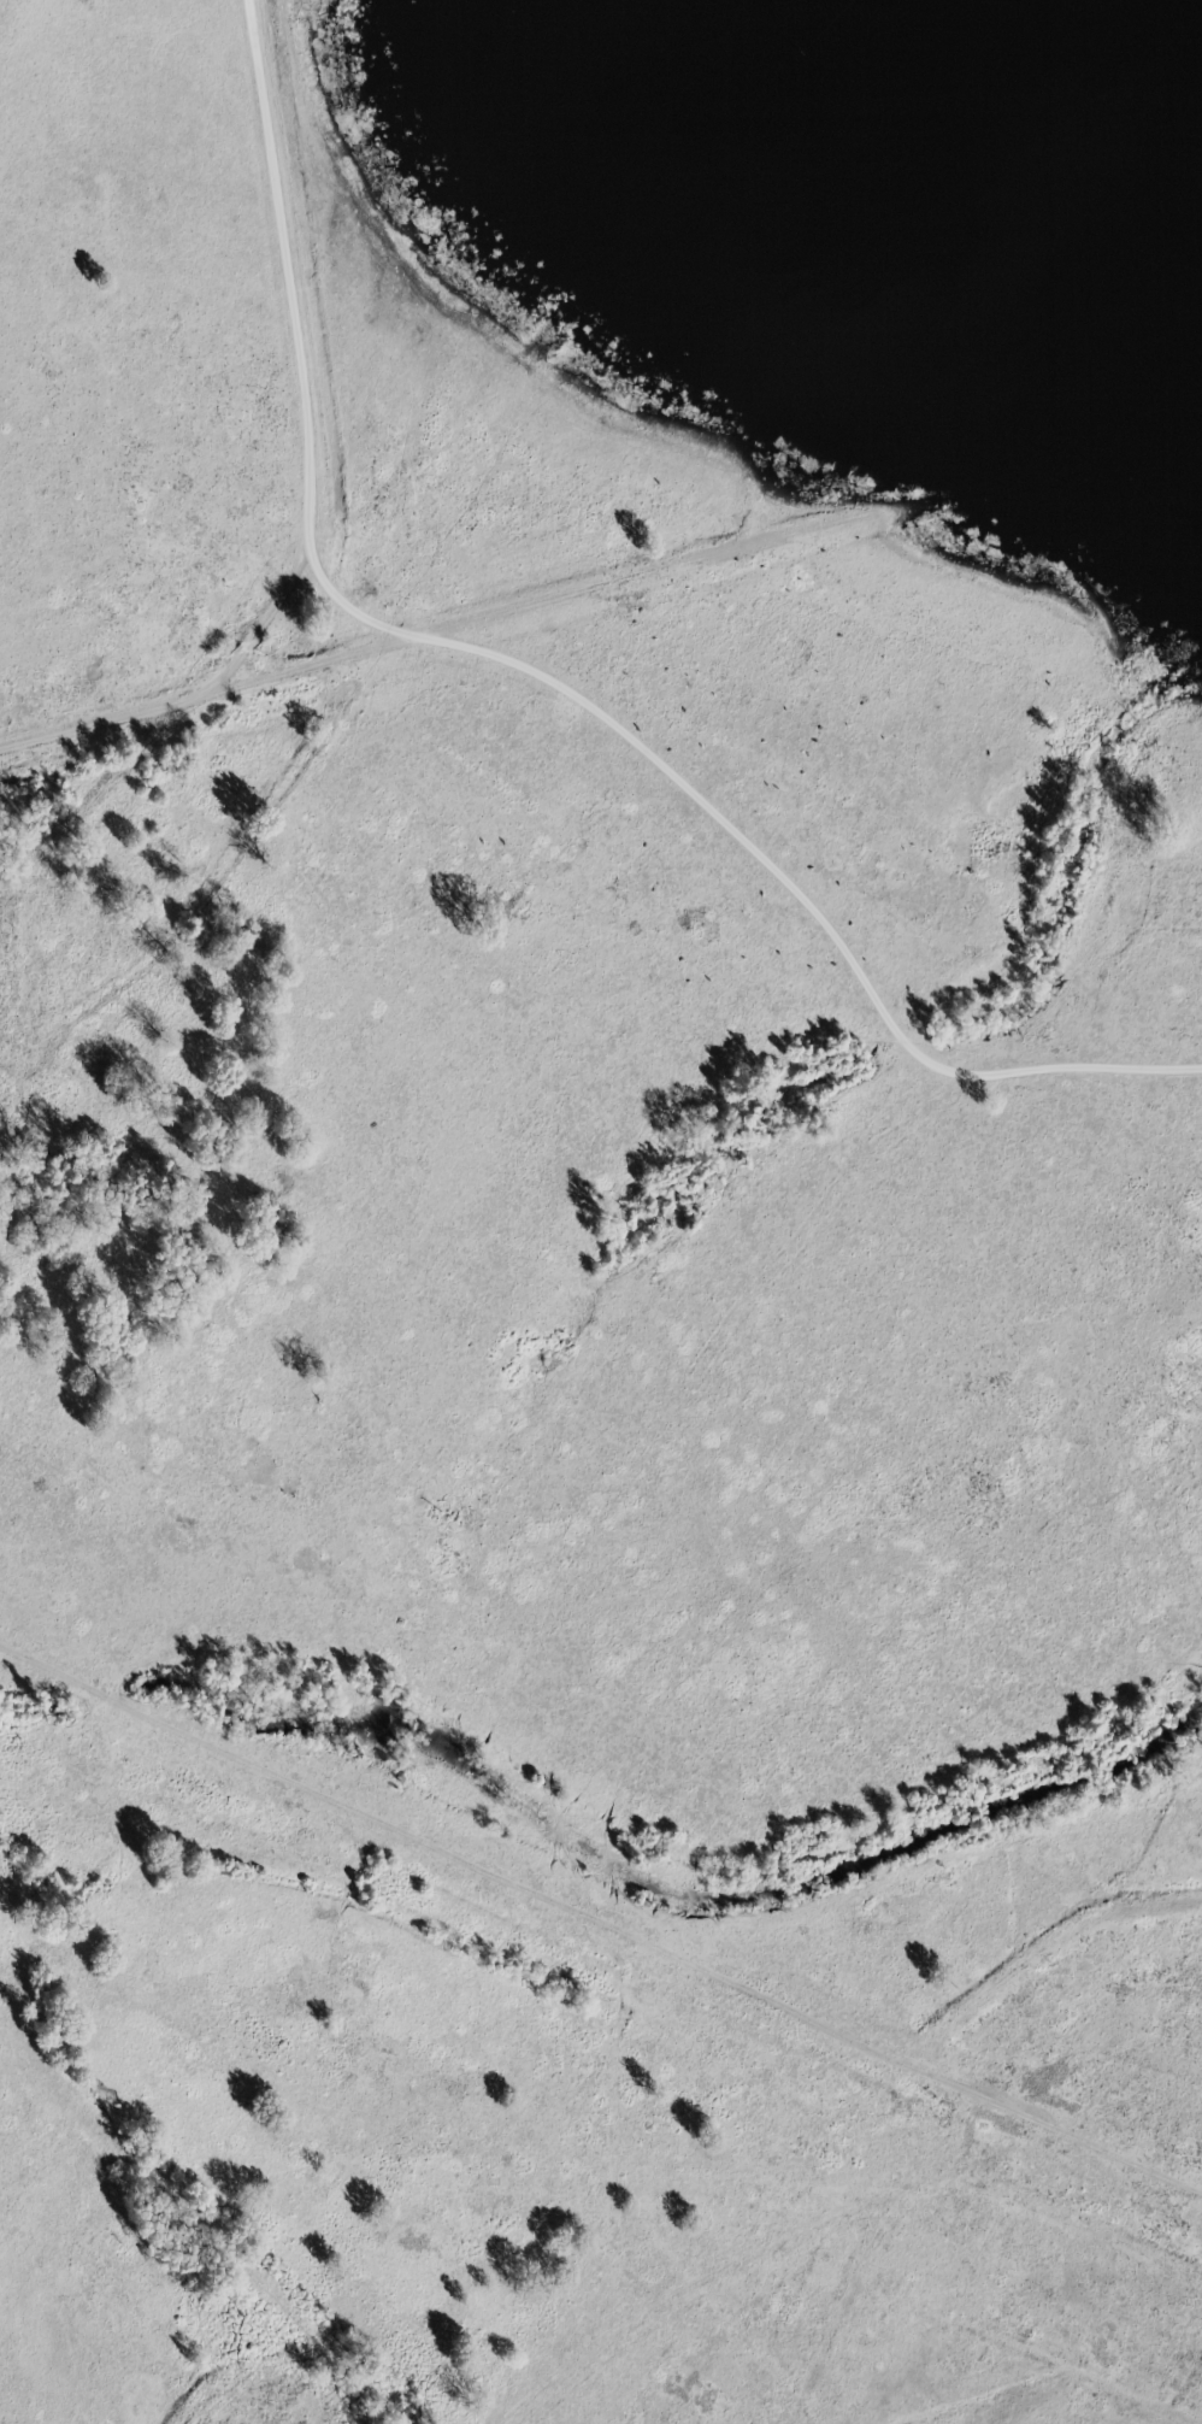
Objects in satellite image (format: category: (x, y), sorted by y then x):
road: (302, 461)

